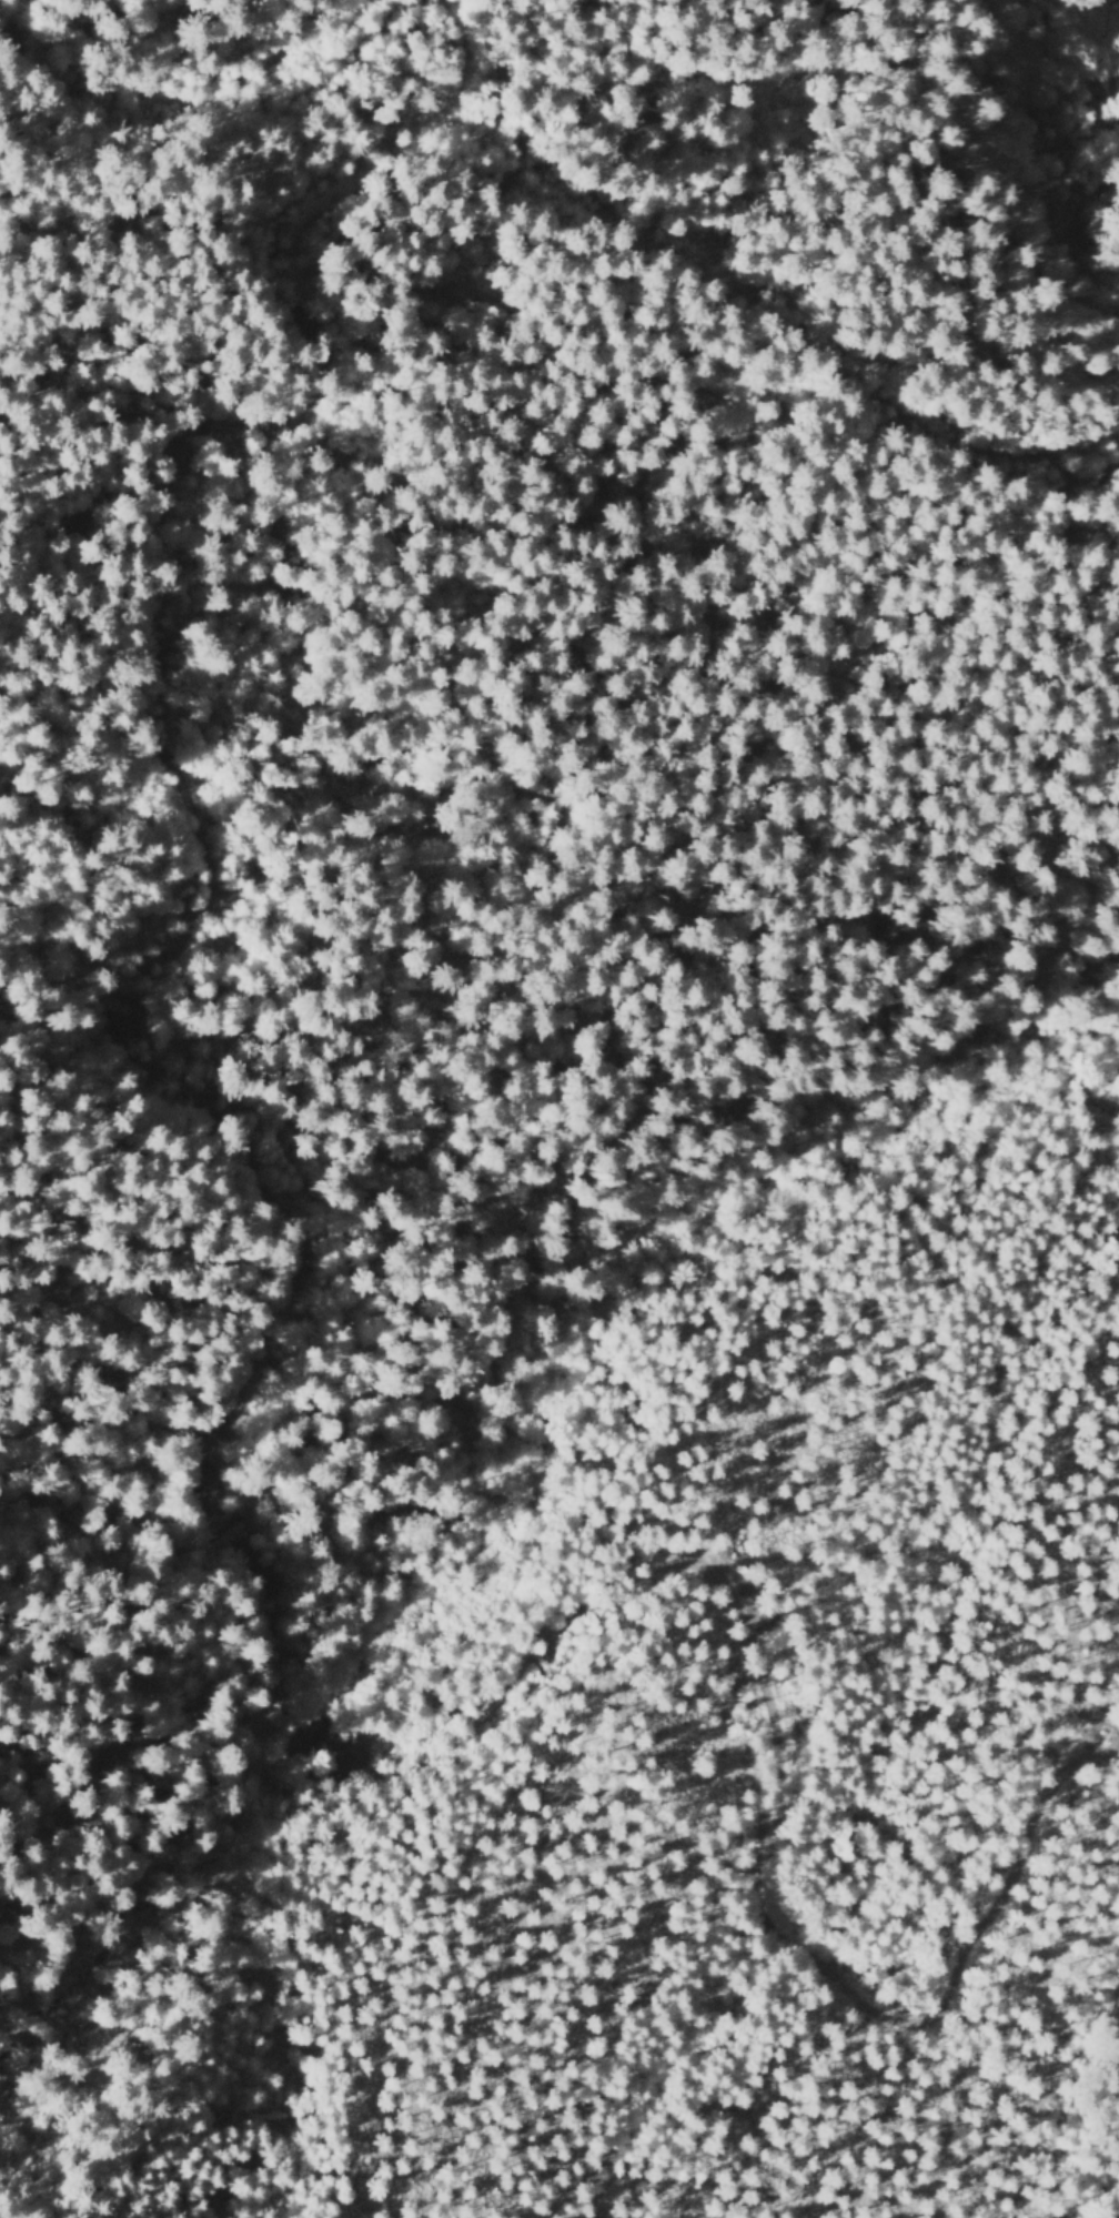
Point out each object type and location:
road: (1096, 130)
road: (239, 208)
road: (780, 357)
road: (352, 1278)

